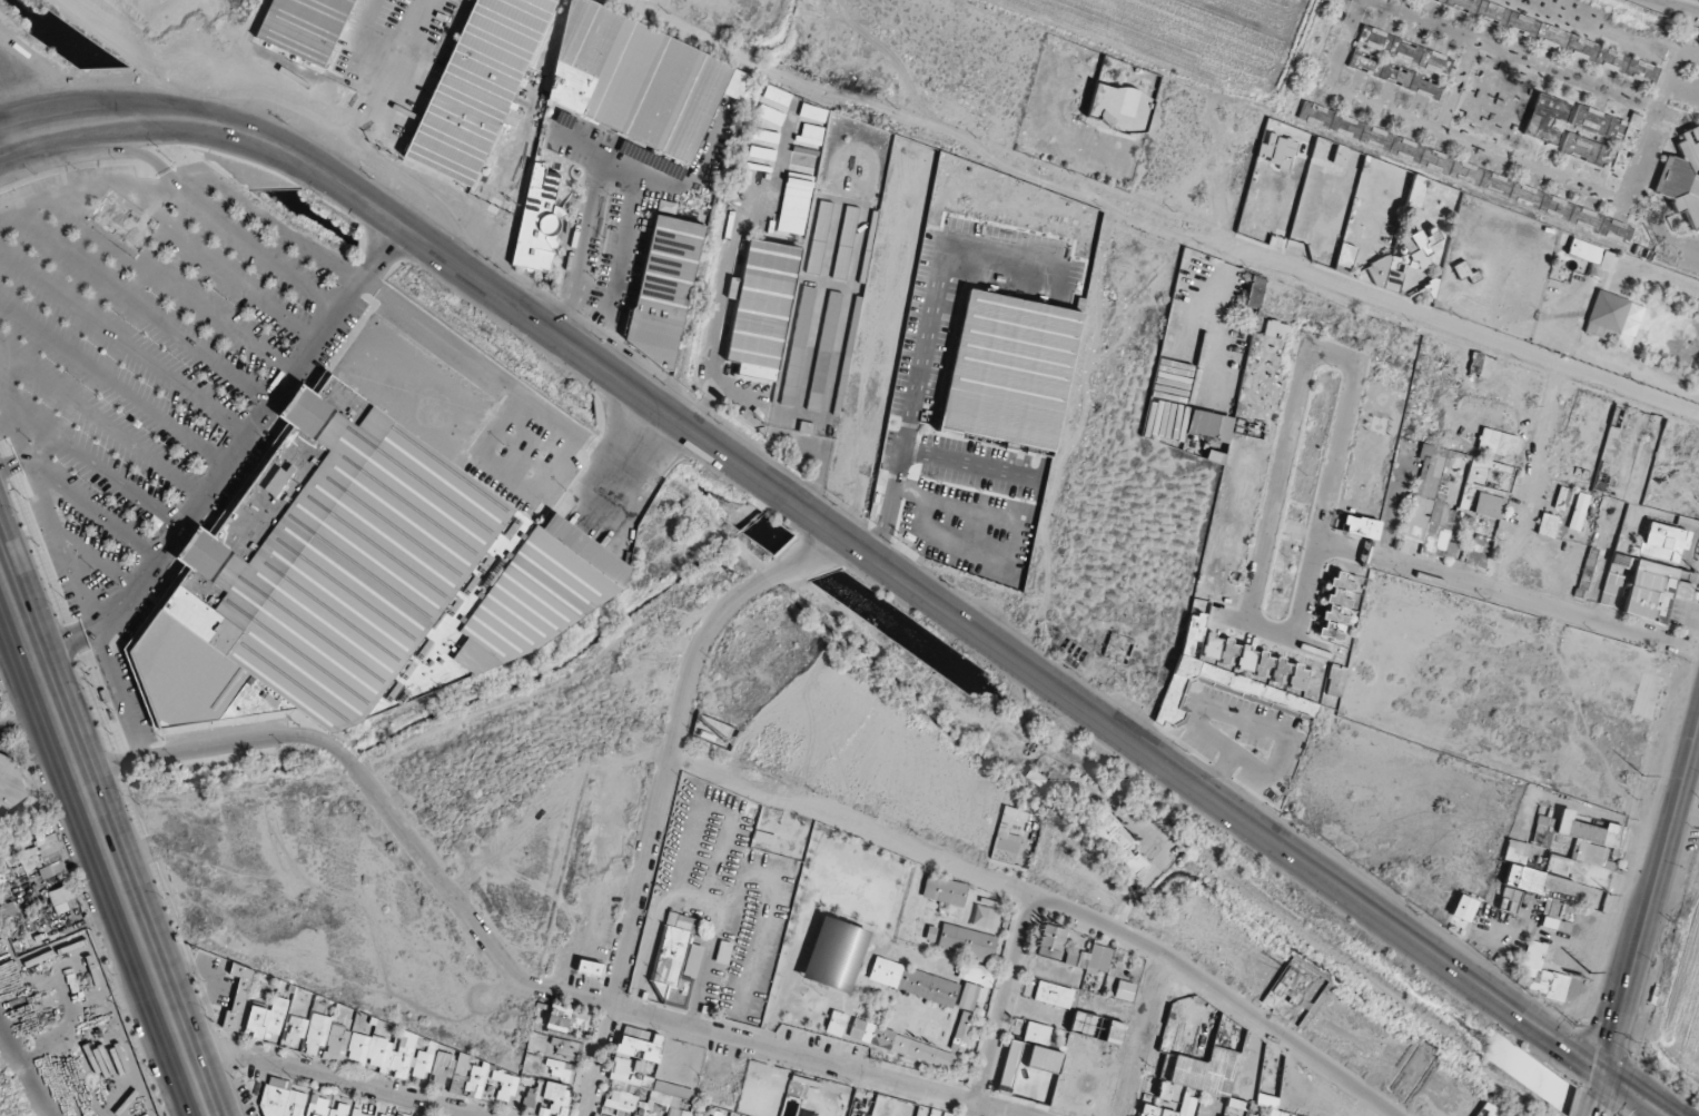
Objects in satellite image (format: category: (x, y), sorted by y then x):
crop: (1183, 39)
gas station: (23, 73)
parking lot: (140, 342)

